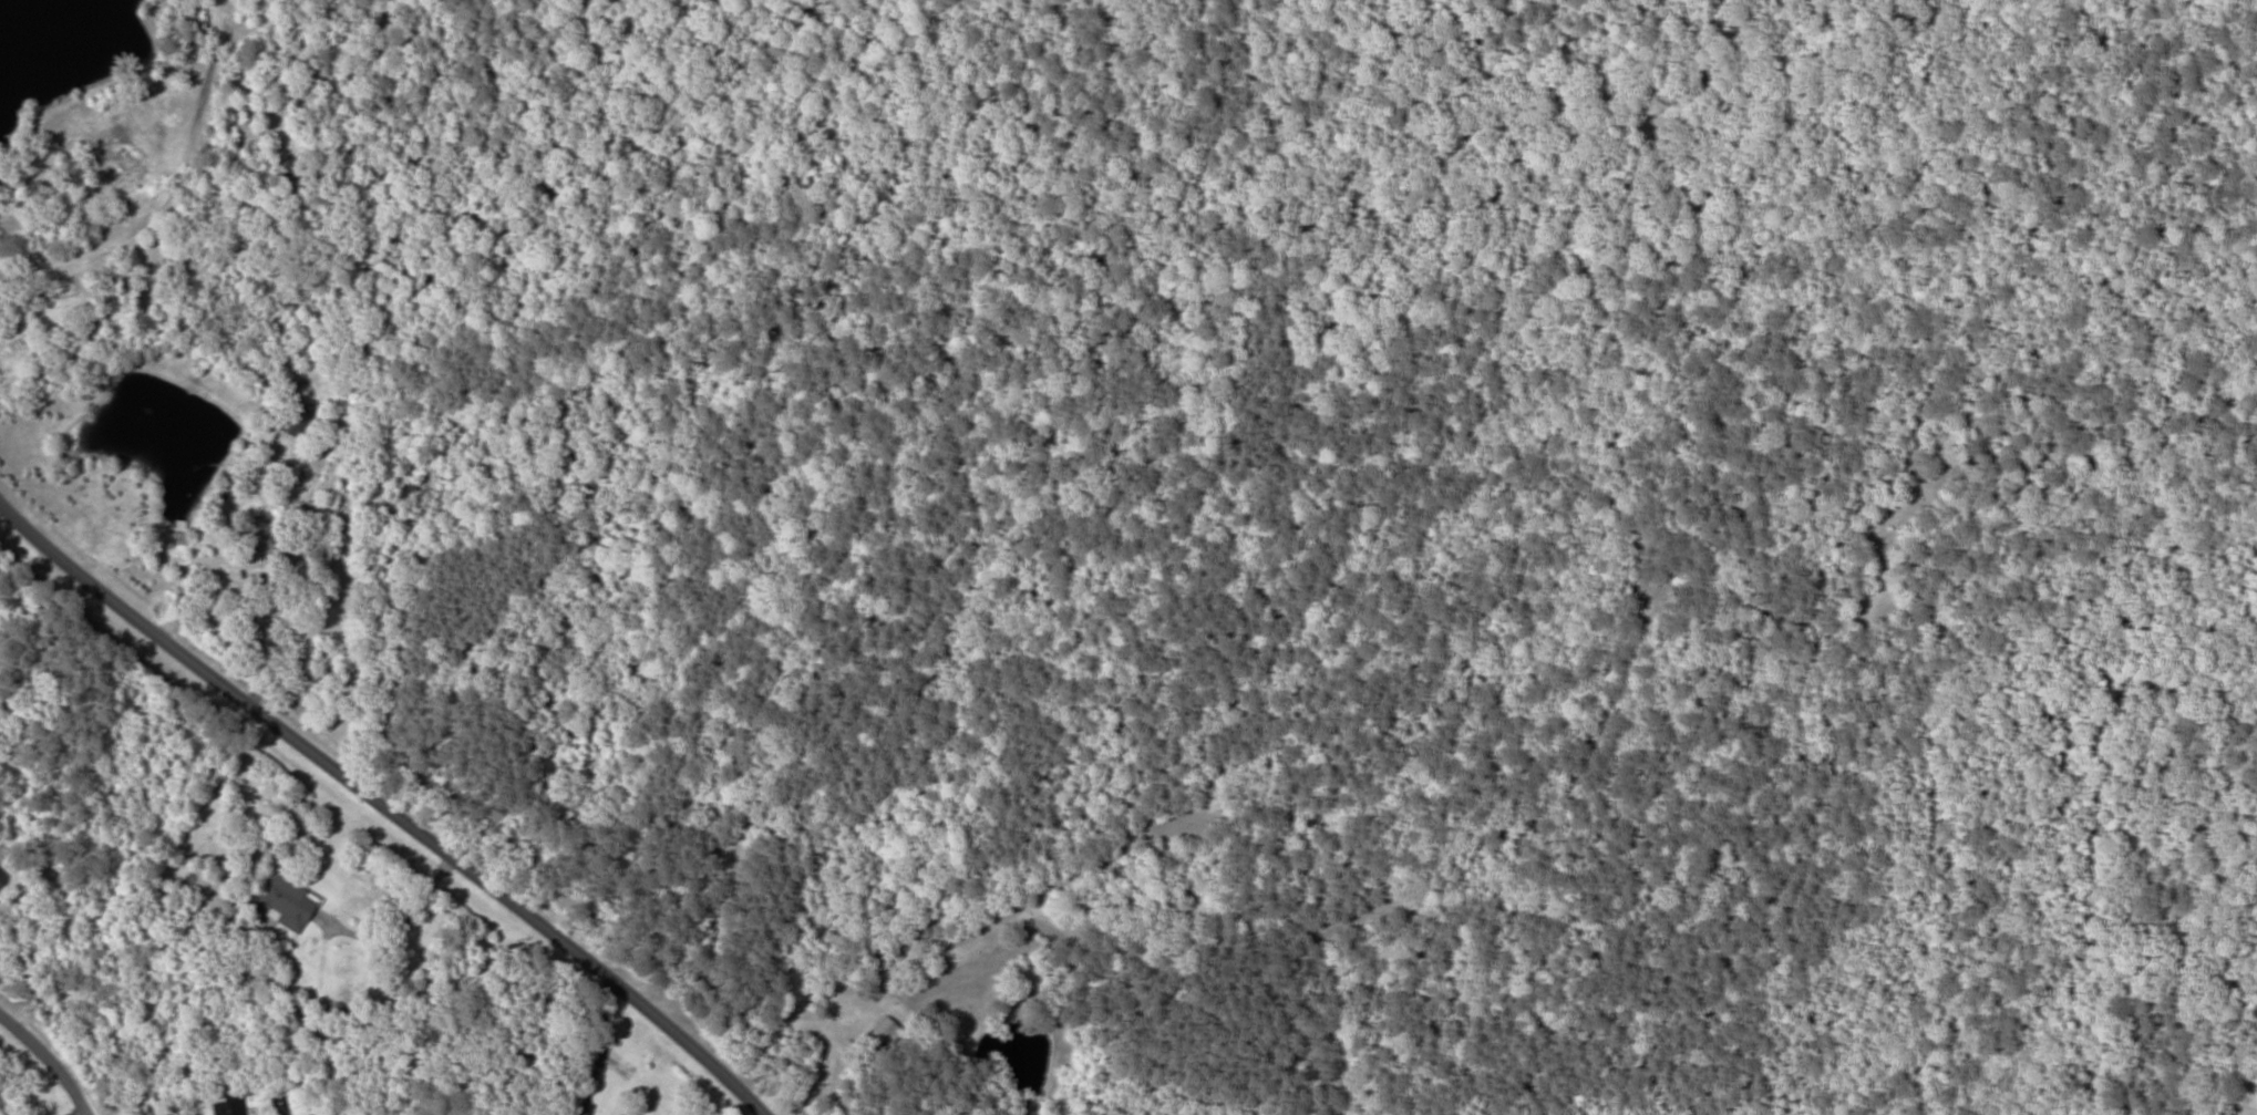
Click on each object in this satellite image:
building: (10, 355)
building: (293, 419)
building: (265, 543)
road: (382, 807)
building: (1, 877)
building: (281, 902)
road: (47, 1056)
building: (225, 1105)

